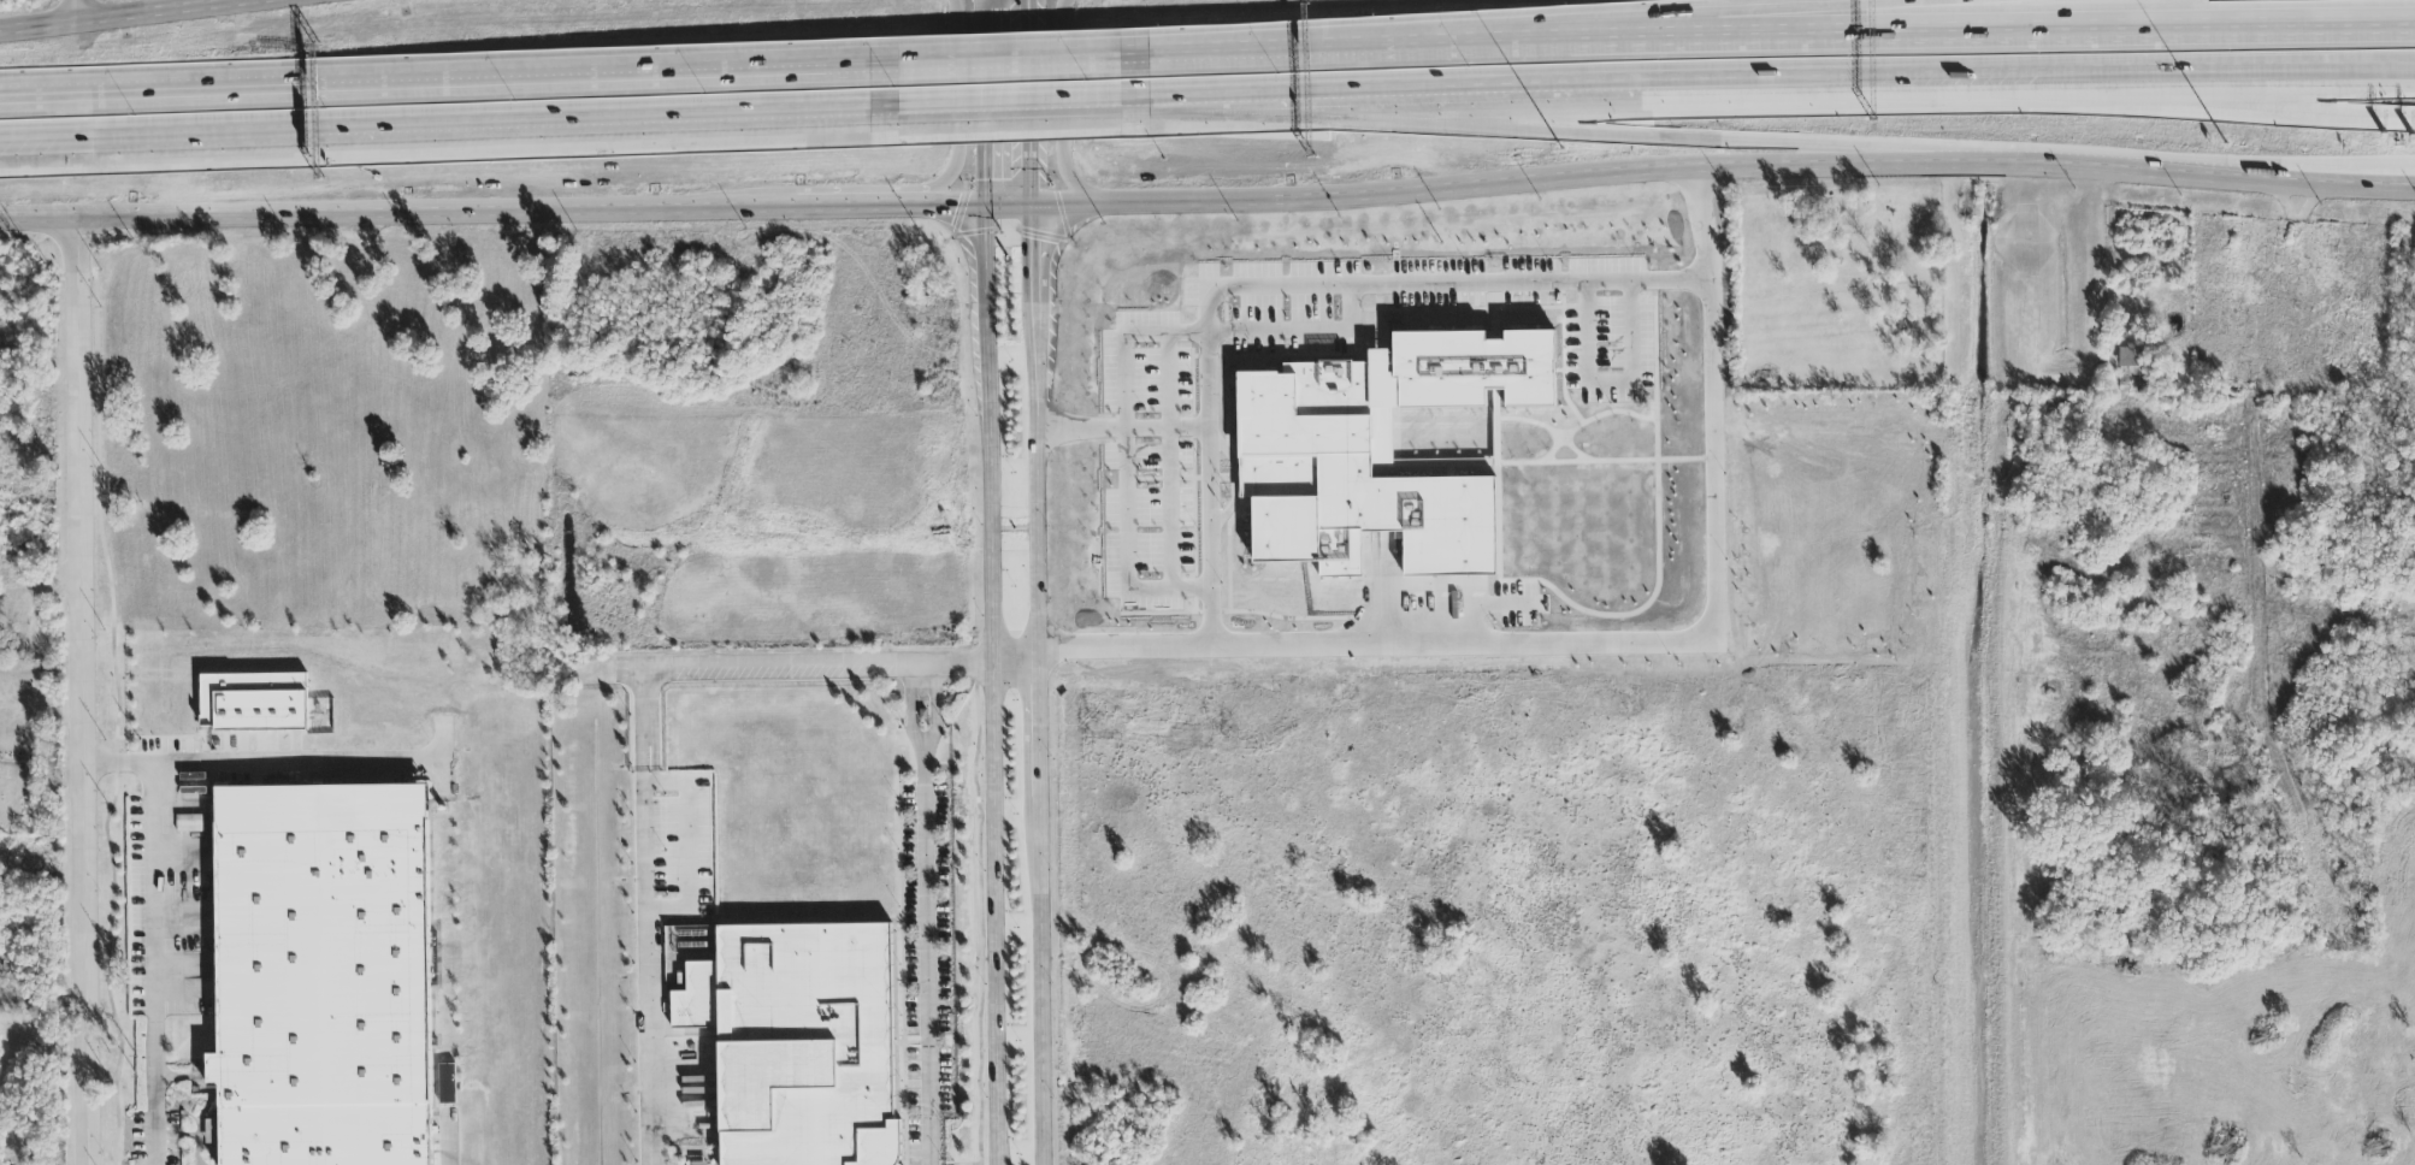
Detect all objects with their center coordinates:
road: (75, 11)
road: (146, 14)
road: (1654, 30)
road: (1767, 46)
road: (1003, 72)
road: (1777, 76)
road: (442, 94)
road: (1014, 101)
road: (1884, 104)
road: (981, 105)
road: (1029, 106)
road: (959, 110)
road: (1059, 113)
road: (2411, 120)
road: (443, 122)
road: (1625, 132)
road: (2262, 167)
road: (1640, 177)
traffic signals: (982, 182)
road: (891, 201)
road: (833, 207)
traffic signals: (953, 209)
road: (401, 215)
road: (2110, 236)
traffic signals: (1028, 242)
road: (1028, 258)
road: (1289, 286)
road: (1309, 333)
building: (2133, 362)
building: (1474, 369)
road: (1616, 377)
road: (1123, 431)
road: (1129, 461)
road: (1173, 462)
building: (1374, 520)
building: (31, 616)
road: (1610, 643)
road: (1014, 666)
road: (802, 668)
road: (991, 687)
road: (81, 694)
road: (911, 710)
road: (935, 710)
road: (1037, 734)
road: (443, 759)
road: (262, 763)
road: (184, 799)
building: (190, 824)
road: (184, 858)
road: (112, 897)
road: (980, 913)
road: (649, 917)
road: (185, 922)
building: (691, 939)
road: (926, 958)
road: (153, 964)
road: (187, 968)
building: (326, 976)
road: (187, 994)
building: (801, 1042)
road: (447, 1139)
road: (132, 1159)

